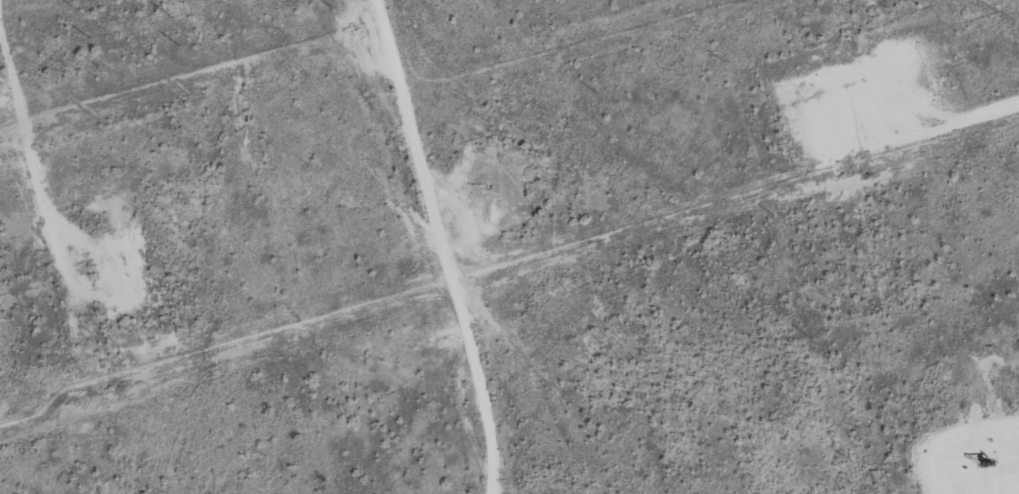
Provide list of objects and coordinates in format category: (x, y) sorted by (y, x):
road: (440, 246)
petroleum well: (983, 472)

